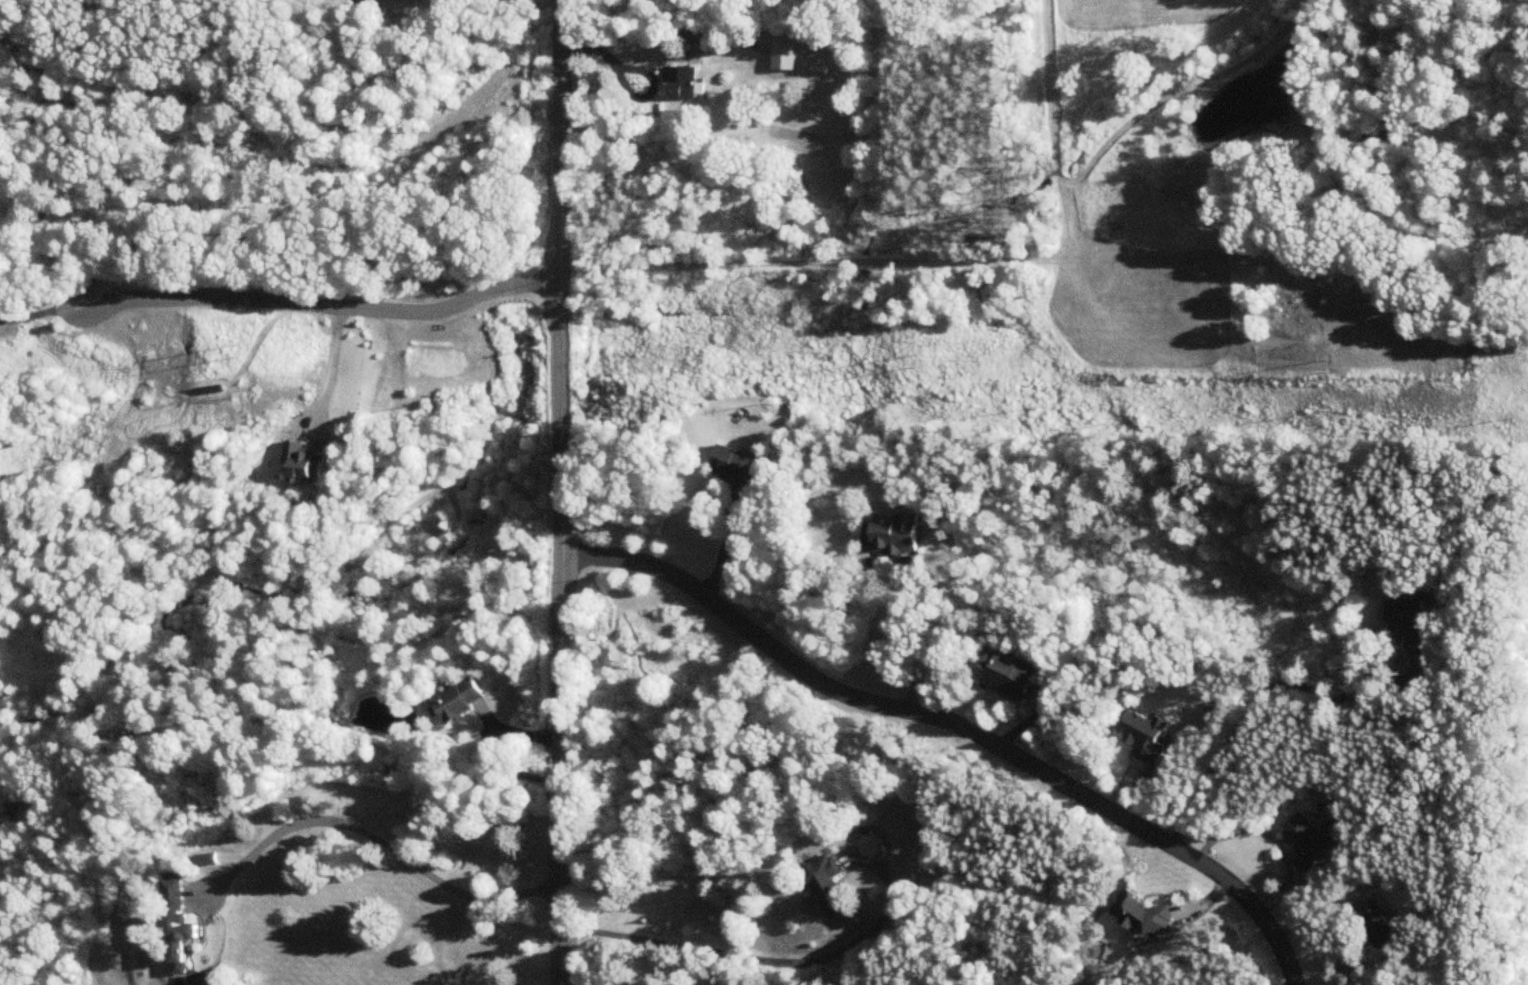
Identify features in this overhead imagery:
building: (401, 1)
building: (505, 1)
building: (691, 35)
road: (595, 43)
road: (699, 50)
building: (785, 58)
road: (649, 78)
building: (681, 85)
road: (304, 164)
road: (773, 266)
road: (324, 307)
road: (41, 309)
power tower: (241, 355)
road: (329, 358)
power tower: (925, 362)
power tower: (1329, 362)
building: (306, 462)
building: (737, 468)
road: (561, 492)
building: (893, 535)
building: (1403, 621)
road: (916, 637)
building: (1010, 675)
building: (461, 700)
road: (1269, 704)
road: (954, 727)
building: (1307, 841)
road: (371, 842)
building: (827, 889)
building: (175, 894)
building: (1144, 916)
building: (1378, 925)
building: (181, 940)
road: (765, 961)

